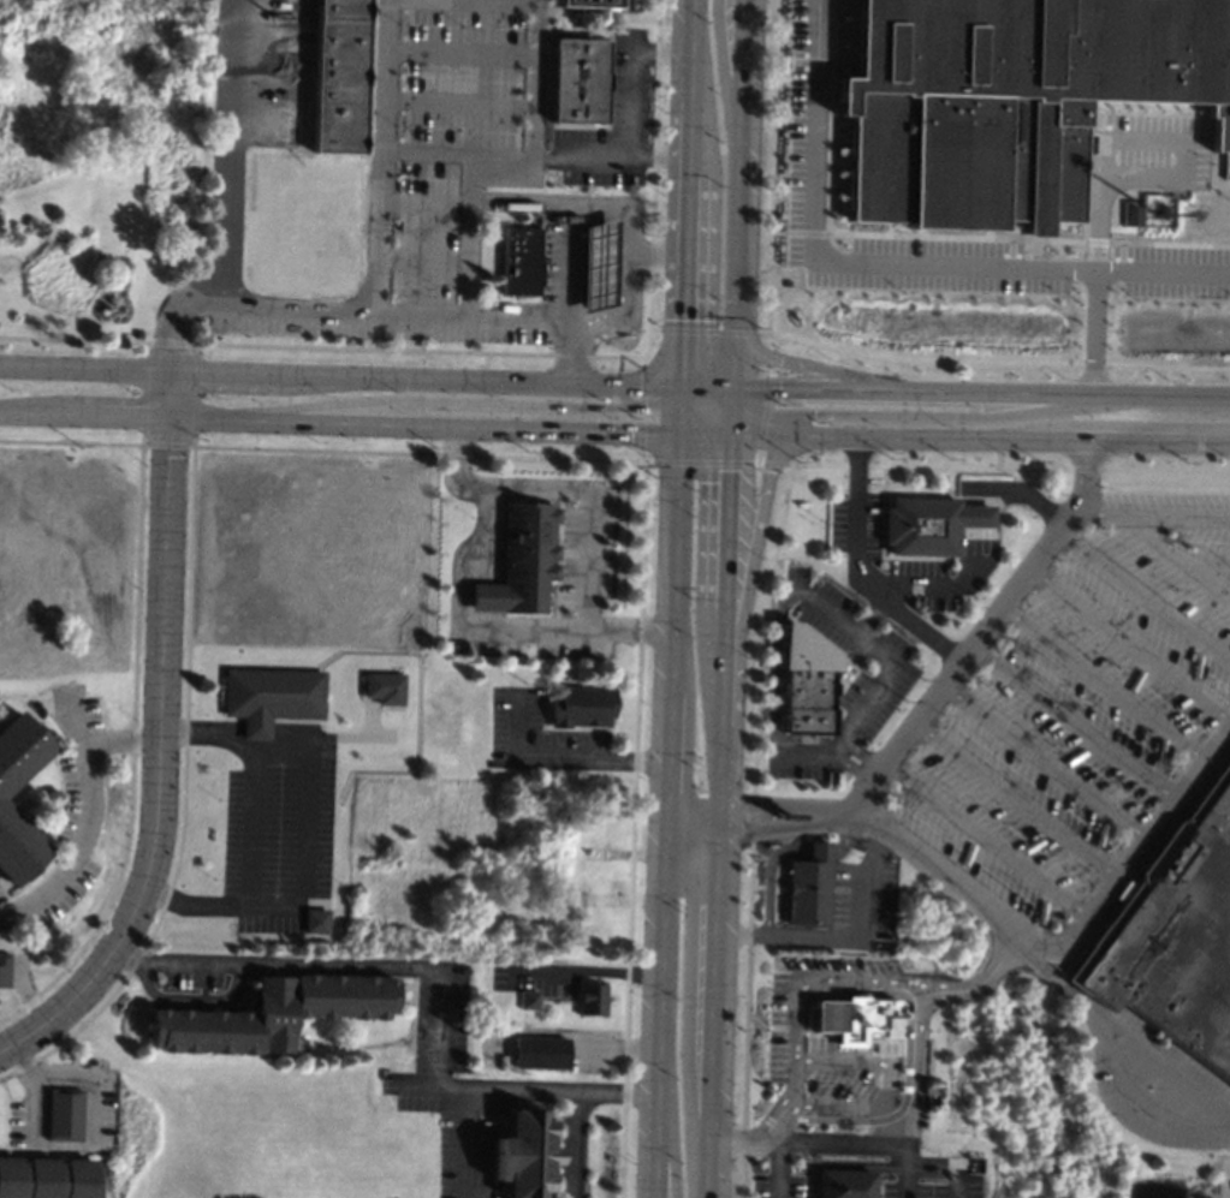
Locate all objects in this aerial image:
building: (590, 2)
road: (693, 50)
road: (459, 52)
road: (662, 52)
building: (339, 76)
road: (535, 79)
building: (578, 79)
building: (1009, 99)
road: (458, 103)
road: (630, 106)
parking lot: (803, 115)
road: (688, 137)
road: (1187, 139)
road: (228, 153)
parking lot: (1148, 153)
road: (380, 155)
road: (534, 160)
road: (837, 161)
road: (743, 166)
road: (770, 166)
parking lot: (433, 180)
road: (424, 203)
road: (624, 207)
building: (1133, 213)
road: (797, 231)
road: (467, 234)
road: (913, 234)
road: (654, 252)
road: (422, 257)
building: (519, 261)
road: (569, 262)
road: (890, 263)
building: (596, 266)
road: (683, 280)
road: (1093, 285)
road: (375, 309)
traffic signals: (682, 320)
building: (139, 333)
road: (797, 340)
road: (735, 359)
road: (85, 366)
road: (822, 369)
road: (225, 370)
road: (479, 379)
road: (706, 386)
traffic signals: (777, 387)
road: (981, 391)
road: (678, 397)
road: (766, 399)
road: (454, 400)
road: (732, 400)
road: (708, 403)
traffic signals: (608, 406)
road: (115, 415)
traffic signals: (813, 415)
road: (913, 415)
road: (702, 418)
road: (1205, 418)
road: (677, 421)
road: (730, 423)
road: (453, 425)
traffic signals: (629, 433)
road: (703, 434)
road: (757, 434)
road: (1008, 439)
traffic signals: (729, 470)
road: (495, 489)
road: (1154, 512)
building: (926, 525)
road: (991, 546)
road: (1171, 553)
road: (469, 556)
building: (521, 561)
road: (1211, 568)
road: (855, 576)
parking lot: (570, 588)
road: (1146, 595)
road: (738, 620)
road: (873, 620)
road: (724, 622)
road: (586, 625)
road: (628, 634)
road: (985, 634)
road: (1131, 644)
road: (884, 678)
building: (806, 681)
road: (1104, 685)
building: (384, 689)
building: (271, 697)
building: (581, 705)
parking lot: (1080, 710)
road: (1074, 725)
road: (210, 732)
road: (161, 740)
parking lot: (542, 741)
road: (561, 755)
road: (858, 756)
road: (1044, 763)
road: (852, 765)
road: (1016, 801)
road: (767, 805)
road: (302, 809)
road: (693, 812)
road: (85, 815)
road: (665, 816)
building: (12, 824)
road: (768, 826)
parking lot: (280, 838)
road: (985, 841)
building: (807, 886)
building: (314, 919)
road: (844, 935)
building: (1175, 936)
road: (1051, 959)
road: (314, 967)
building: (4, 970)
road: (588, 976)
road: (979, 984)
building: (592, 999)
building: (528, 1000)
road: (714, 1006)
building: (271, 1013)
building: (852, 1017)
road: (1134, 1041)
building: (540, 1051)
road: (917, 1068)
road: (96, 1079)
parking lot: (1157, 1083)
road: (34, 1089)
building: (927, 1089)
road: (519, 1090)
road: (795, 1101)
road: (1143, 1107)
building: (63, 1113)
road: (782, 1124)
road: (808, 1142)
road: (464, 1143)
road: (572, 1145)
road: (667, 1145)
building: (525, 1155)
road: (940, 1168)
road: (779, 1169)
road: (905, 1172)
parking lot: (783, 1173)
parking lot: (925, 1175)
building: (47, 1178)
building: (843, 1184)

